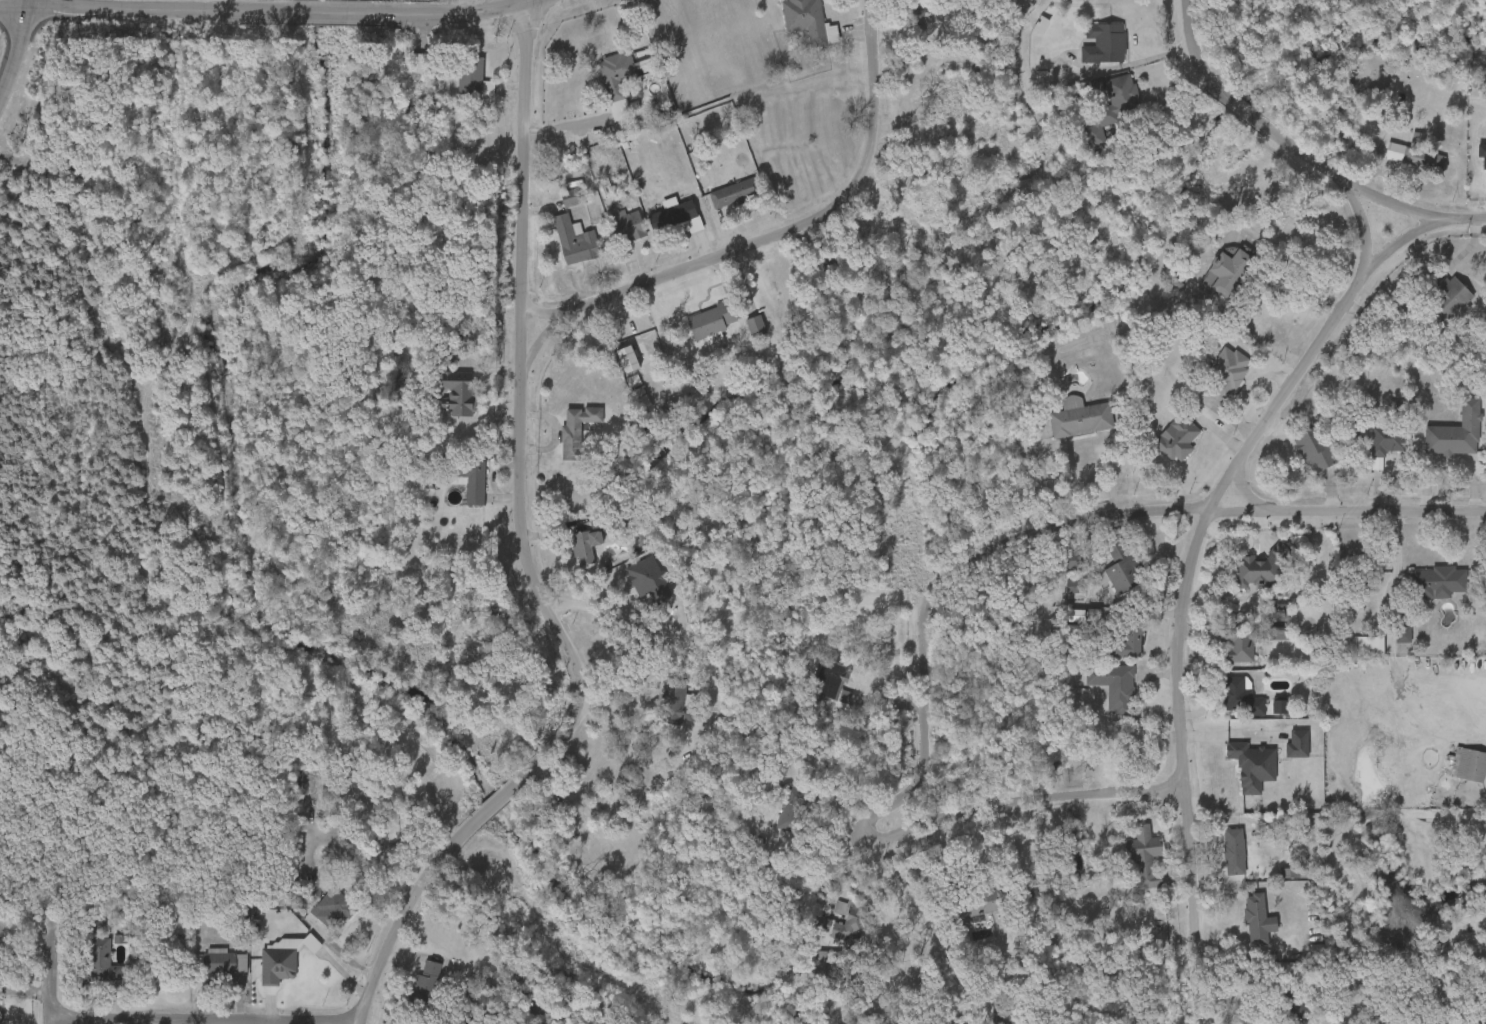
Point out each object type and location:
road: (520, 4)
road: (533, 4)
road: (139, 9)
road: (297, 13)
road: (335, 14)
road: (437, 16)
building: (806, 19)
building: (902, 29)
building: (1104, 42)
road: (15, 45)
building: (402, 72)
building: (473, 75)
building: (621, 76)
building: (459, 87)
building: (1480, 88)
building: (602, 91)
building: (1112, 104)
road: (1279, 137)
building: (1415, 154)
road: (518, 162)
building: (1399, 166)
building: (733, 192)
building: (570, 196)
building: (719, 203)
building: (556, 207)
building: (675, 216)
road: (1461, 220)
building: (627, 224)
building: (661, 225)
road: (1357, 231)
road: (778, 233)
building: (613, 235)
building: (575, 240)
building: (561, 250)
building: (1231, 264)
building: (1212, 281)
building: (1450, 294)
road: (1296, 303)
building: (1436, 309)
building: (712, 319)
building: (755, 325)
building: (697, 332)
building: (741, 336)
building: (614, 368)
building: (1227, 369)
building: (457, 391)
building: (444, 402)
building: (1081, 418)
building: (577, 426)
building: (1456, 430)
building: (1178, 437)
building: (562, 439)
building: (1387, 439)
building: (1441, 442)
building: (1314, 447)
building: (1162, 448)
building: (1368, 453)
building: (1298, 458)
building: (1482, 463)
building: (467, 471)
building: (455, 488)
road: (1240, 491)
road: (1067, 524)
road: (1190, 540)
building: (586, 544)
building: (572, 555)
building: (1261, 567)
building: (1119, 573)
building: (1439, 580)
building: (1103, 582)
building: (634, 589)
building: (1422, 591)
building: (1058, 598)
building: (1265, 621)
building: (1130, 627)
building: (1239, 640)
building: (1060, 642)
building: (1263, 642)
building: (1388, 643)
building: (1369, 645)
building: (1113, 651)
building: (1355, 654)
building: (1222, 656)
building: (833, 681)
building: (1114, 683)
building: (816, 687)
building: (1099, 694)
building: (1241, 695)
building: (676, 698)
road: (569, 700)
building: (1281, 704)
building: (1226, 706)
building: (829, 708)
building: (1265, 715)
building: (663, 717)
building: (1298, 742)
building: (1283, 753)
building: (1252, 764)
building: (1467, 764)
building: (1452, 773)
building: (1238, 775)
road: (1018, 803)
building: (773, 825)
building: (1234, 850)
building: (1145, 856)
building: (1219, 860)
building: (1130, 866)
building: (1278, 882)
building: (982, 900)
building: (336, 907)
building: (852, 913)
building: (318, 918)
building: (1258, 919)
building: (1243, 929)
building: (829, 934)
road: (938, 942)
building: (1317, 949)
building: (103, 959)
building: (228, 961)
building: (280, 962)
building: (88, 970)
building: (209, 970)
road: (42, 972)
building: (263, 974)
building: (429, 979)
road: (1202, 986)
building: (411, 992)
building: (1302, 997)
building: (1284, 1015)
building: (1005, 1016)
road: (197, 1022)

